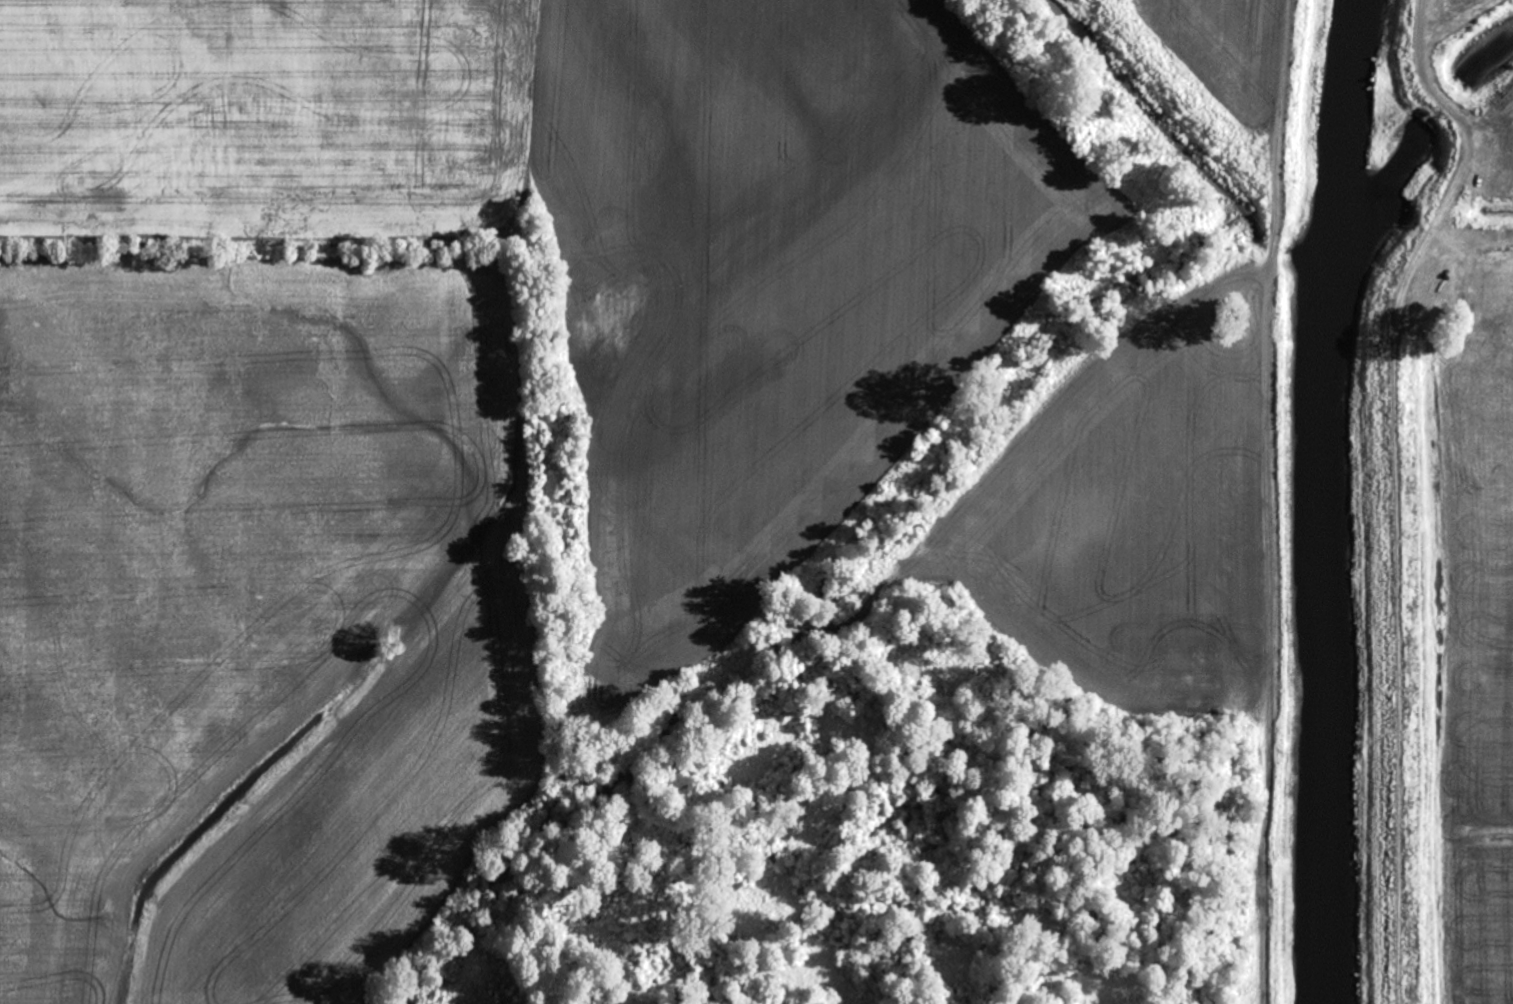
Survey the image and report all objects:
river: (1415, 144)
road: (1271, 501)
river: (1316, 501)

